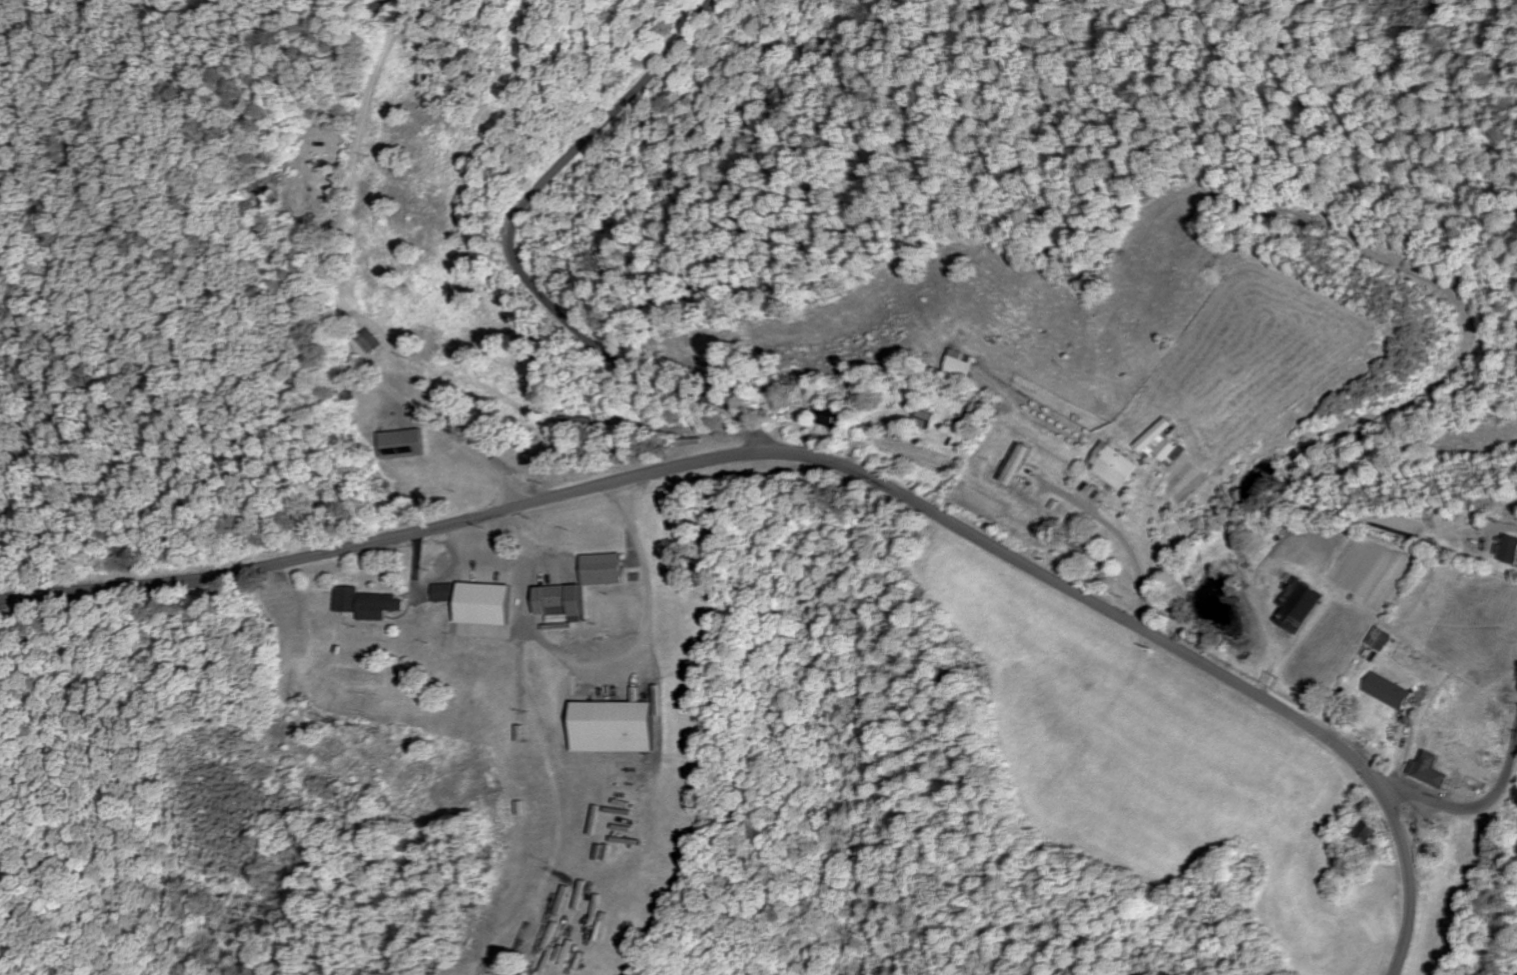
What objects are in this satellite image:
road: (510, 260)
building: (962, 367)
road: (573, 393)
building: (923, 419)
building: (1151, 437)
building: (403, 444)
building: (1168, 453)
building: (1013, 465)
building: (1111, 468)
road: (1119, 535)
road: (387, 539)
building: (1508, 551)
building: (600, 570)
road: (1087, 600)
building: (560, 602)
building: (365, 605)
building: (480, 605)
building: (1297, 607)
building: (1378, 640)
building: (1385, 691)
building: (610, 728)
building: (1426, 771)
road: (1471, 807)
road: (1406, 882)

